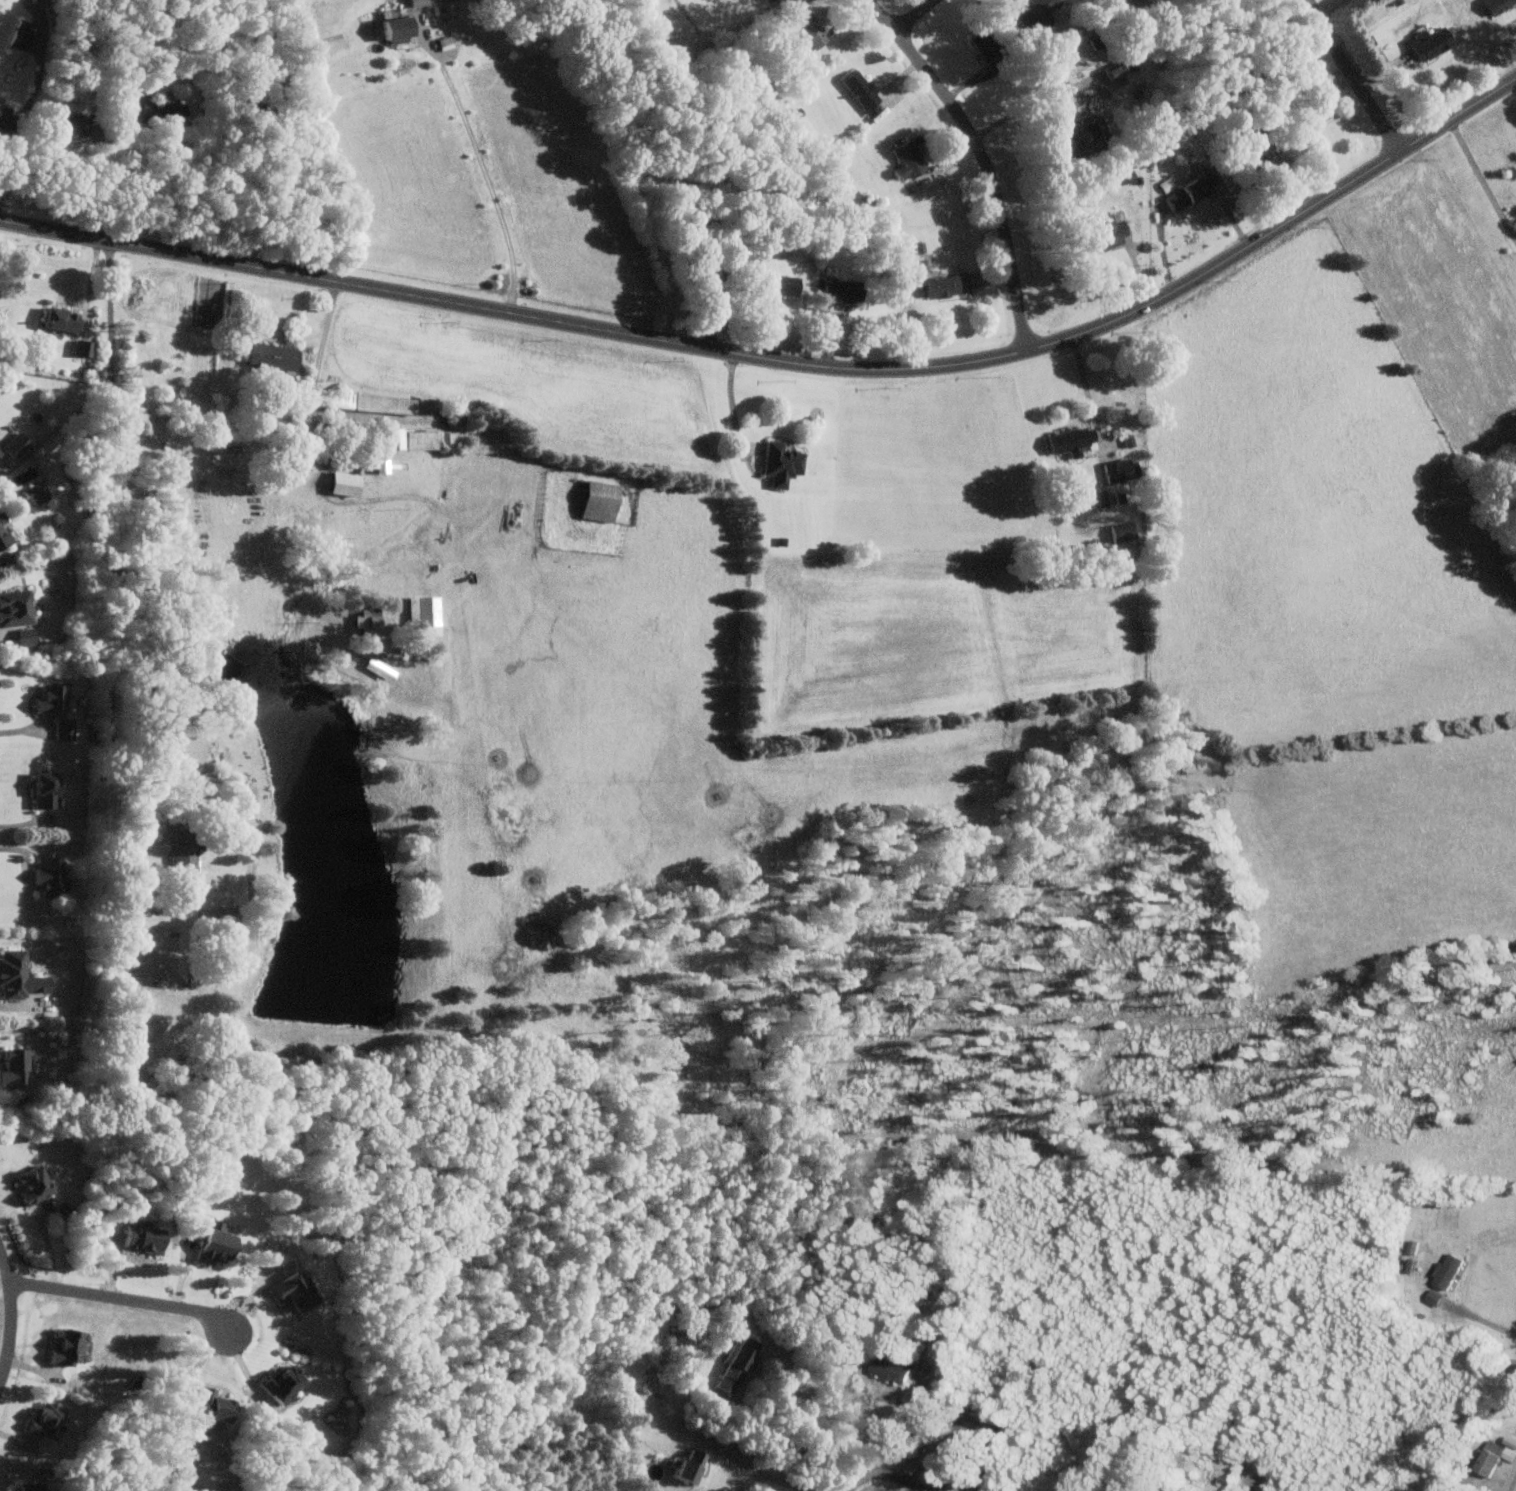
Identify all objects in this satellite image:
building: (420, 2)
building: (1500, 4)
building: (1040, 12)
road: (915, 16)
building: (1513, 18)
building: (813, 28)
building: (22, 39)
building: (1433, 43)
building: (992, 49)
building: (1119, 68)
road: (1356, 75)
building: (865, 91)
road: (1024, 106)
building: (164, 111)
building: (8, 119)
building: (75, 126)
building: (1095, 134)
building: (1076, 148)
building: (912, 158)
road: (986, 158)
road: (126, 174)
road: (1483, 175)
road: (487, 180)
road: (104, 186)
building: (1194, 190)
building: (1114, 231)
road: (91, 284)
building: (946, 284)
building: (789, 285)
building: (845, 290)
road: (756, 299)
building: (65, 321)
road: (328, 330)
building: (86, 347)
building: (277, 356)
road: (788, 360)
road: (1089, 388)
road: (733, 400)
building: (380, 403)
building: (401, 438)
building: (433, 439)
building: (1075, 441)
building: (20, 444)
building: (1, 452)
building: (786, 463)
road: (3, 464)
building: (389, 465)
building: (1125, 469)
building: (349, 484)
building: (38, 493)
building: (1102, 498)
building: (604, 501)
building: (1127, 531)
building: (5, 532)
road: (114, 564)
building: (17, 608)
building: (428, 615)
building: (371, 623)
building: (29, 636)
building: (382, 668)
building: (55, 699)
road: (26, 728)
building: (68, 729)
building: (50, 788)
road: (25, 823)
building: (188, 846)
road: (26, 849)
building: (53, 880)
building: (21, 974)
road: (24, 1006)
building: (17, 1066)
building: (38, 1183)
building: (148, 1237)
building: (220, 1242)
building: (1414, 1245)
building: (1450, 1270)
building: (296, 1290)
building: (1435, 1296)
road: (127, 1298)
road: (13, 1316)
road: (1480, 1319)
building: (72, 1345)
building: (740, 1362)
building: (892, 1369)
building: (287, 1382)
building: (218, 1406)
road: (724, 1408)
building: (49, 1419)
road: (896, 1422)
building: (964, 1441)
building: (1493, 1457)
building: (695, 1465)
road: (885, 1467)
road: (1510, 1480)
building: (33, 1486)

